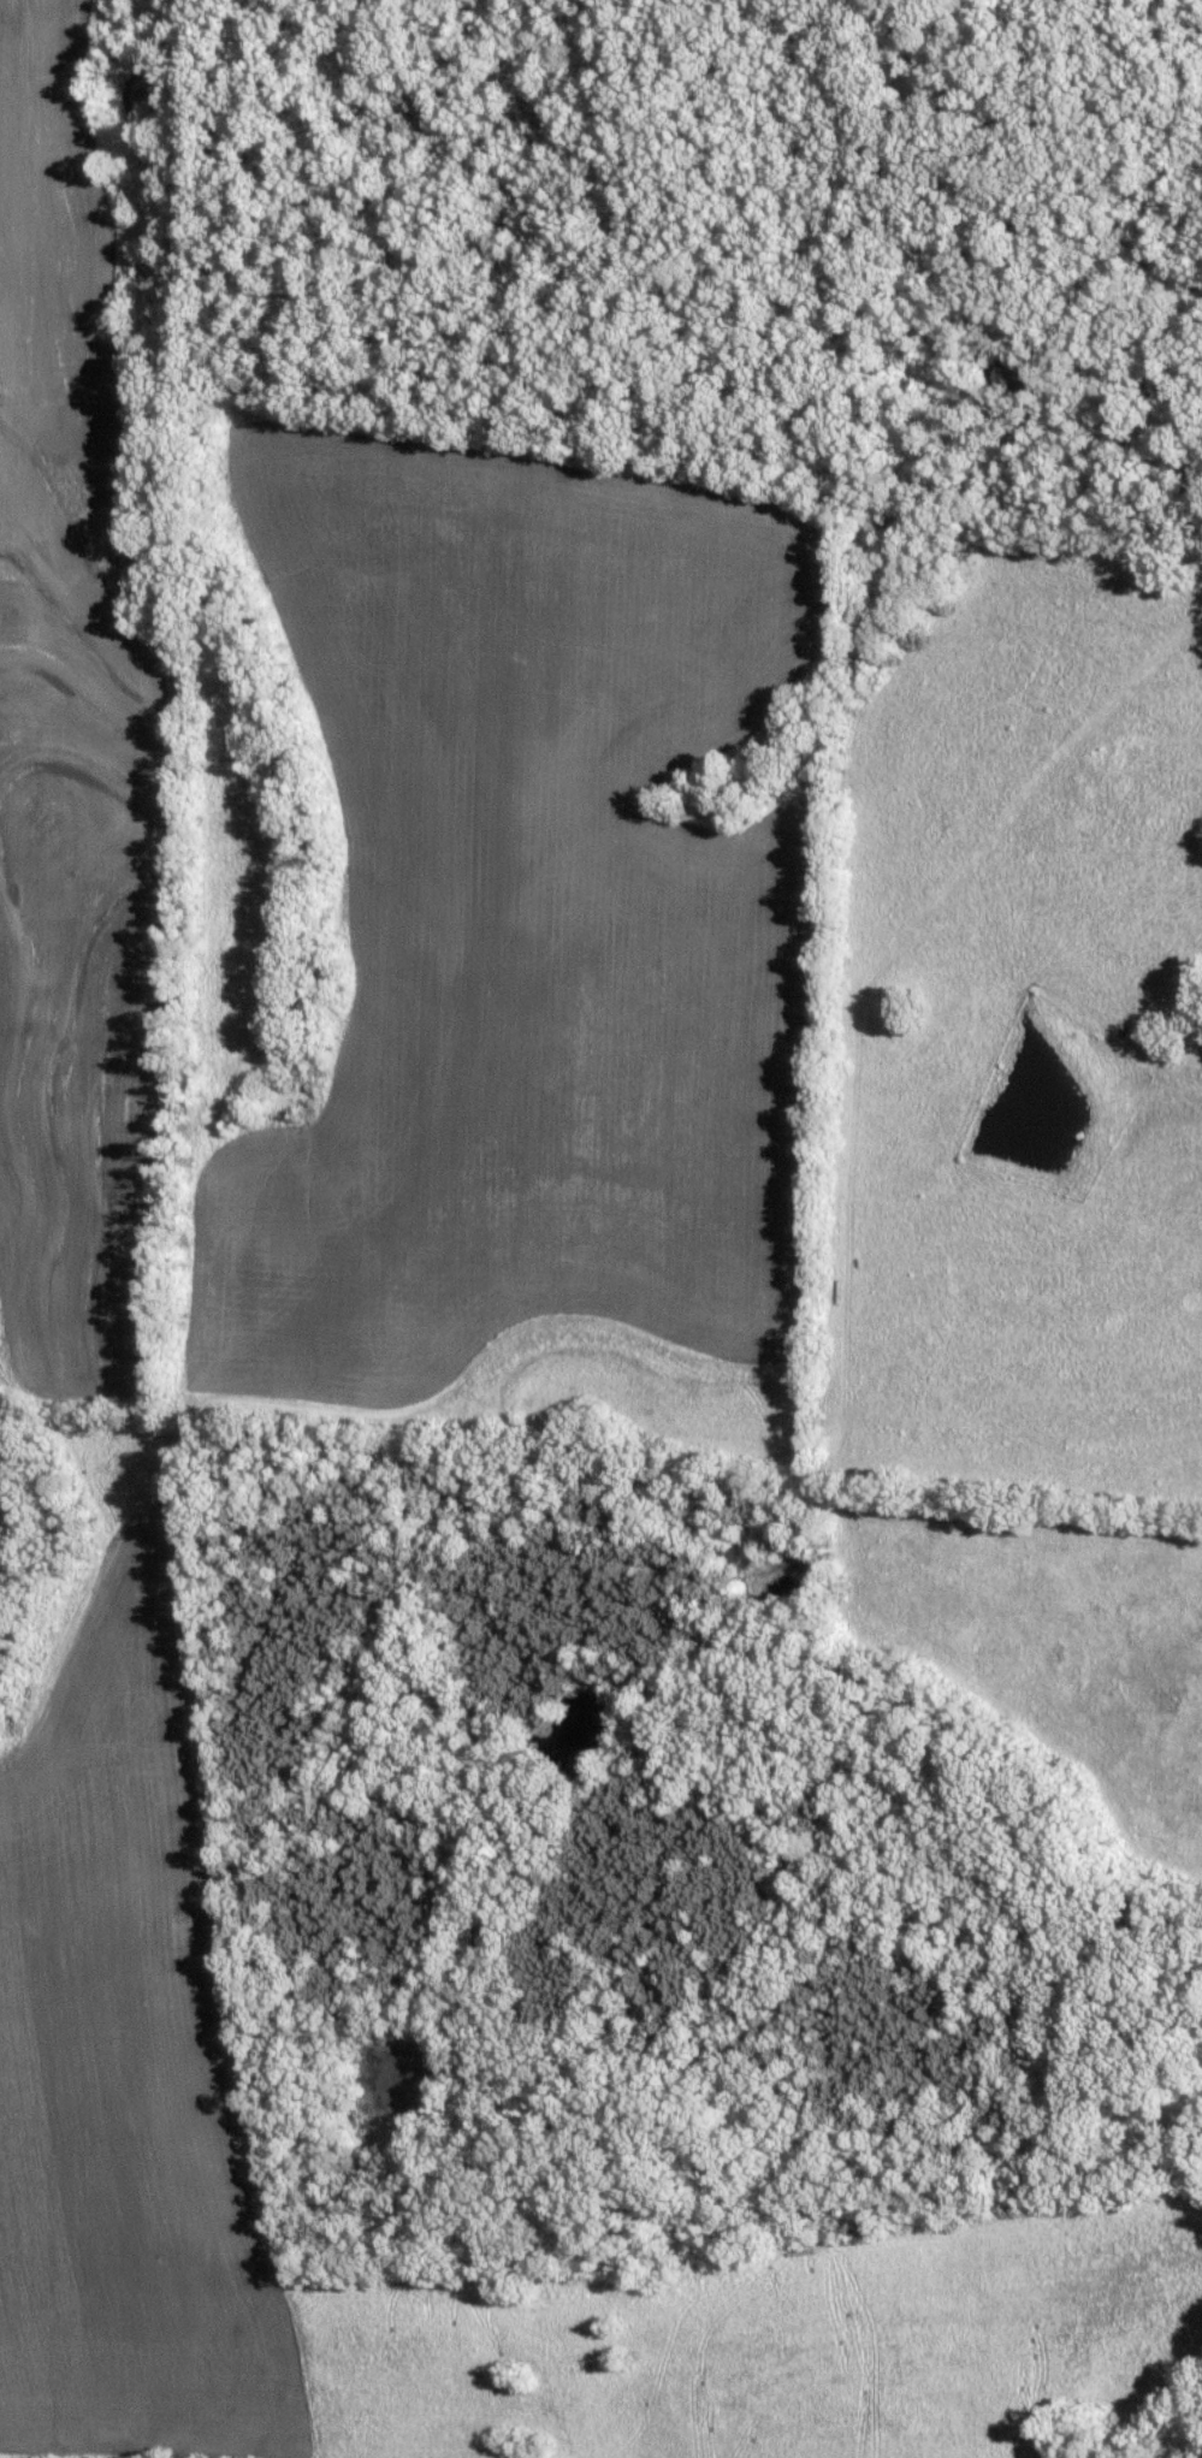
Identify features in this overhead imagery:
building: (1017, 369)

